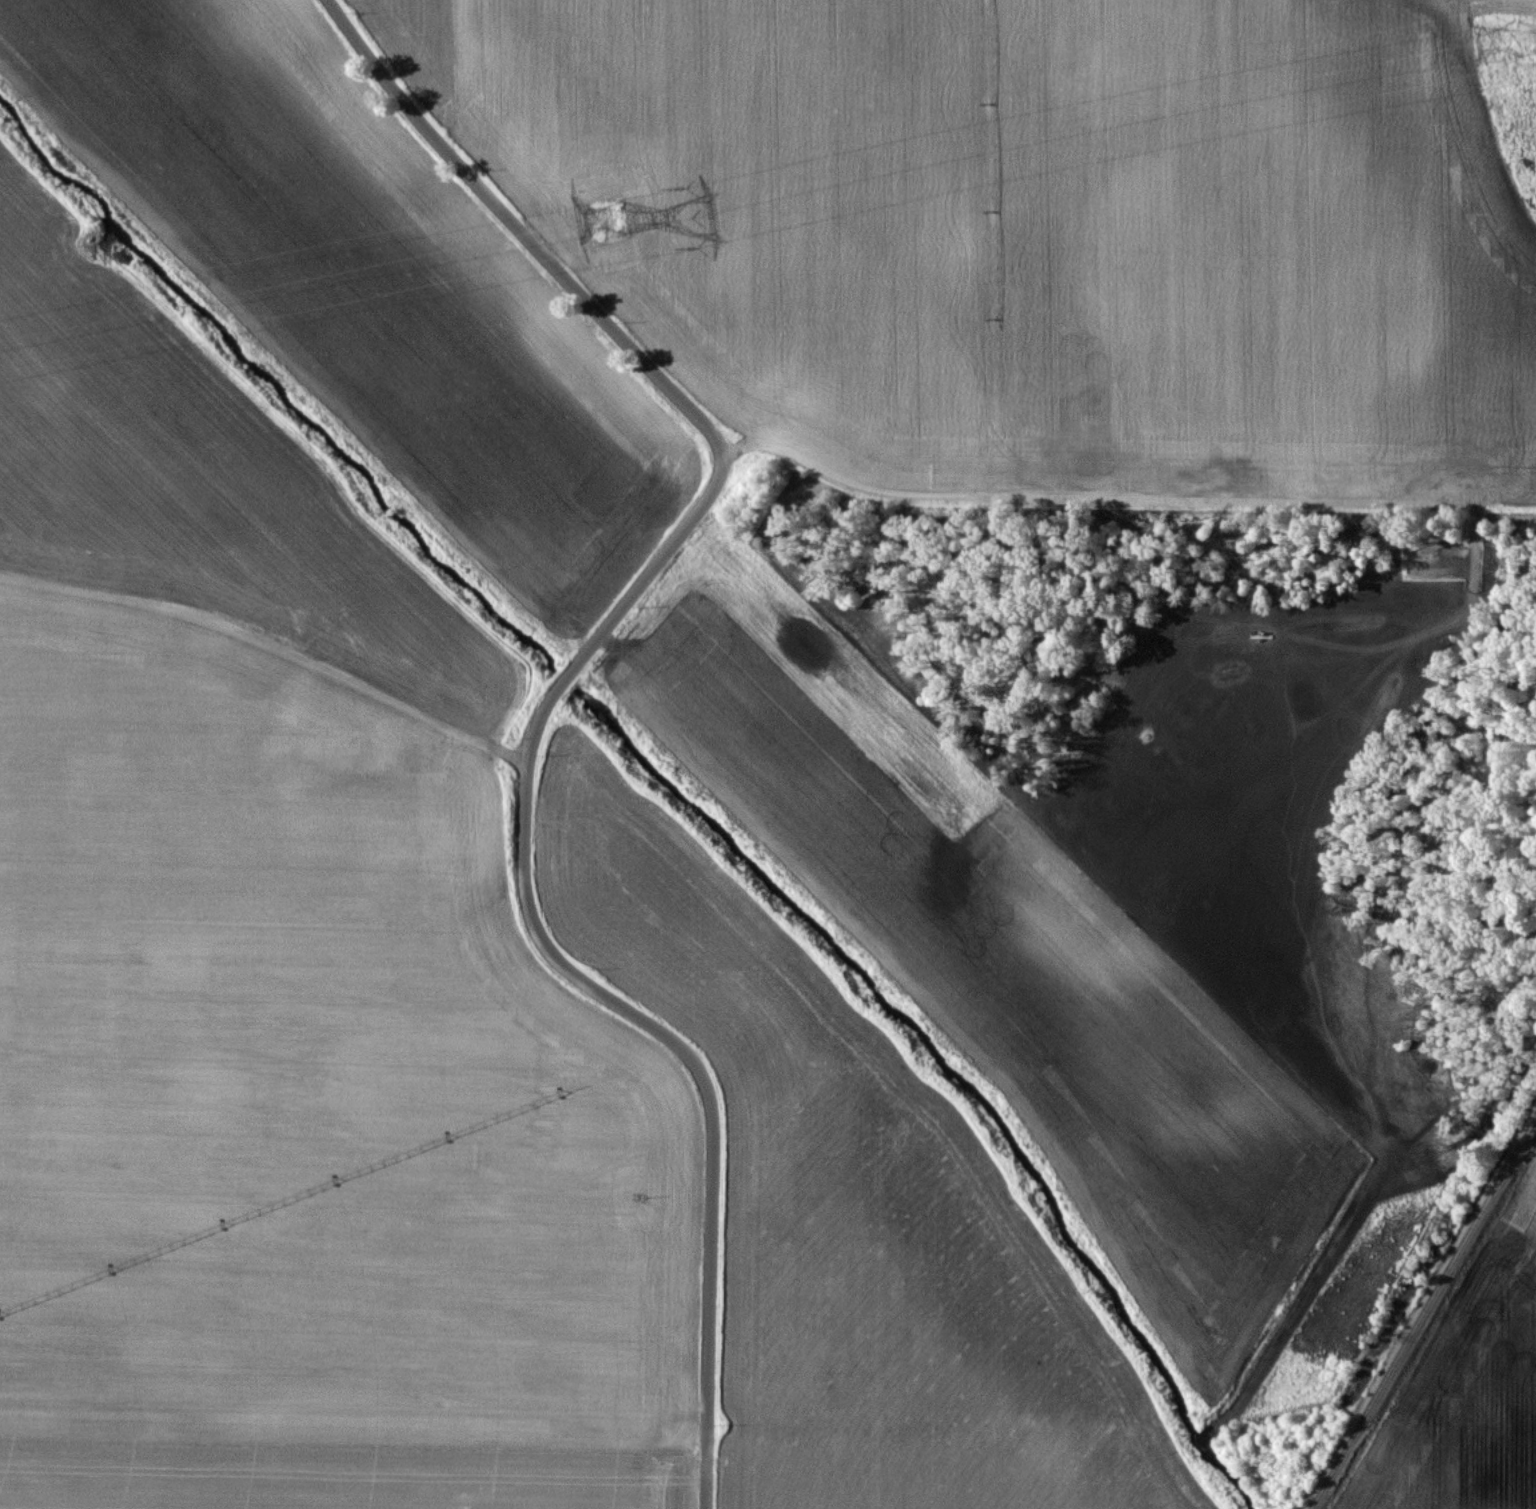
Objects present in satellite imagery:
power tower: (1489, 39)
power tower: (611, 205)
road: (551, 701)
railway: (1423, 1310)

